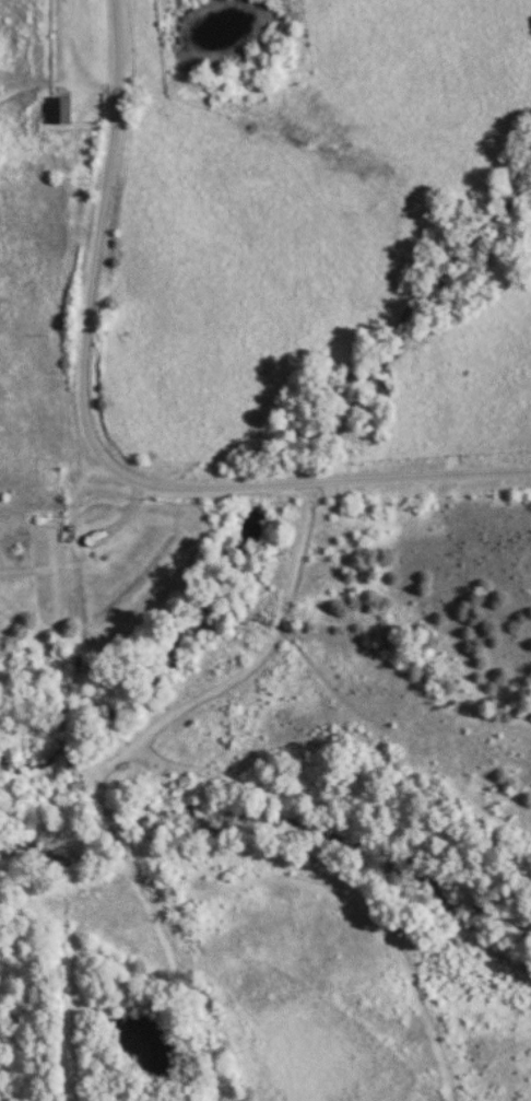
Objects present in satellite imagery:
building: (62, 109)
road: (96, 444)

